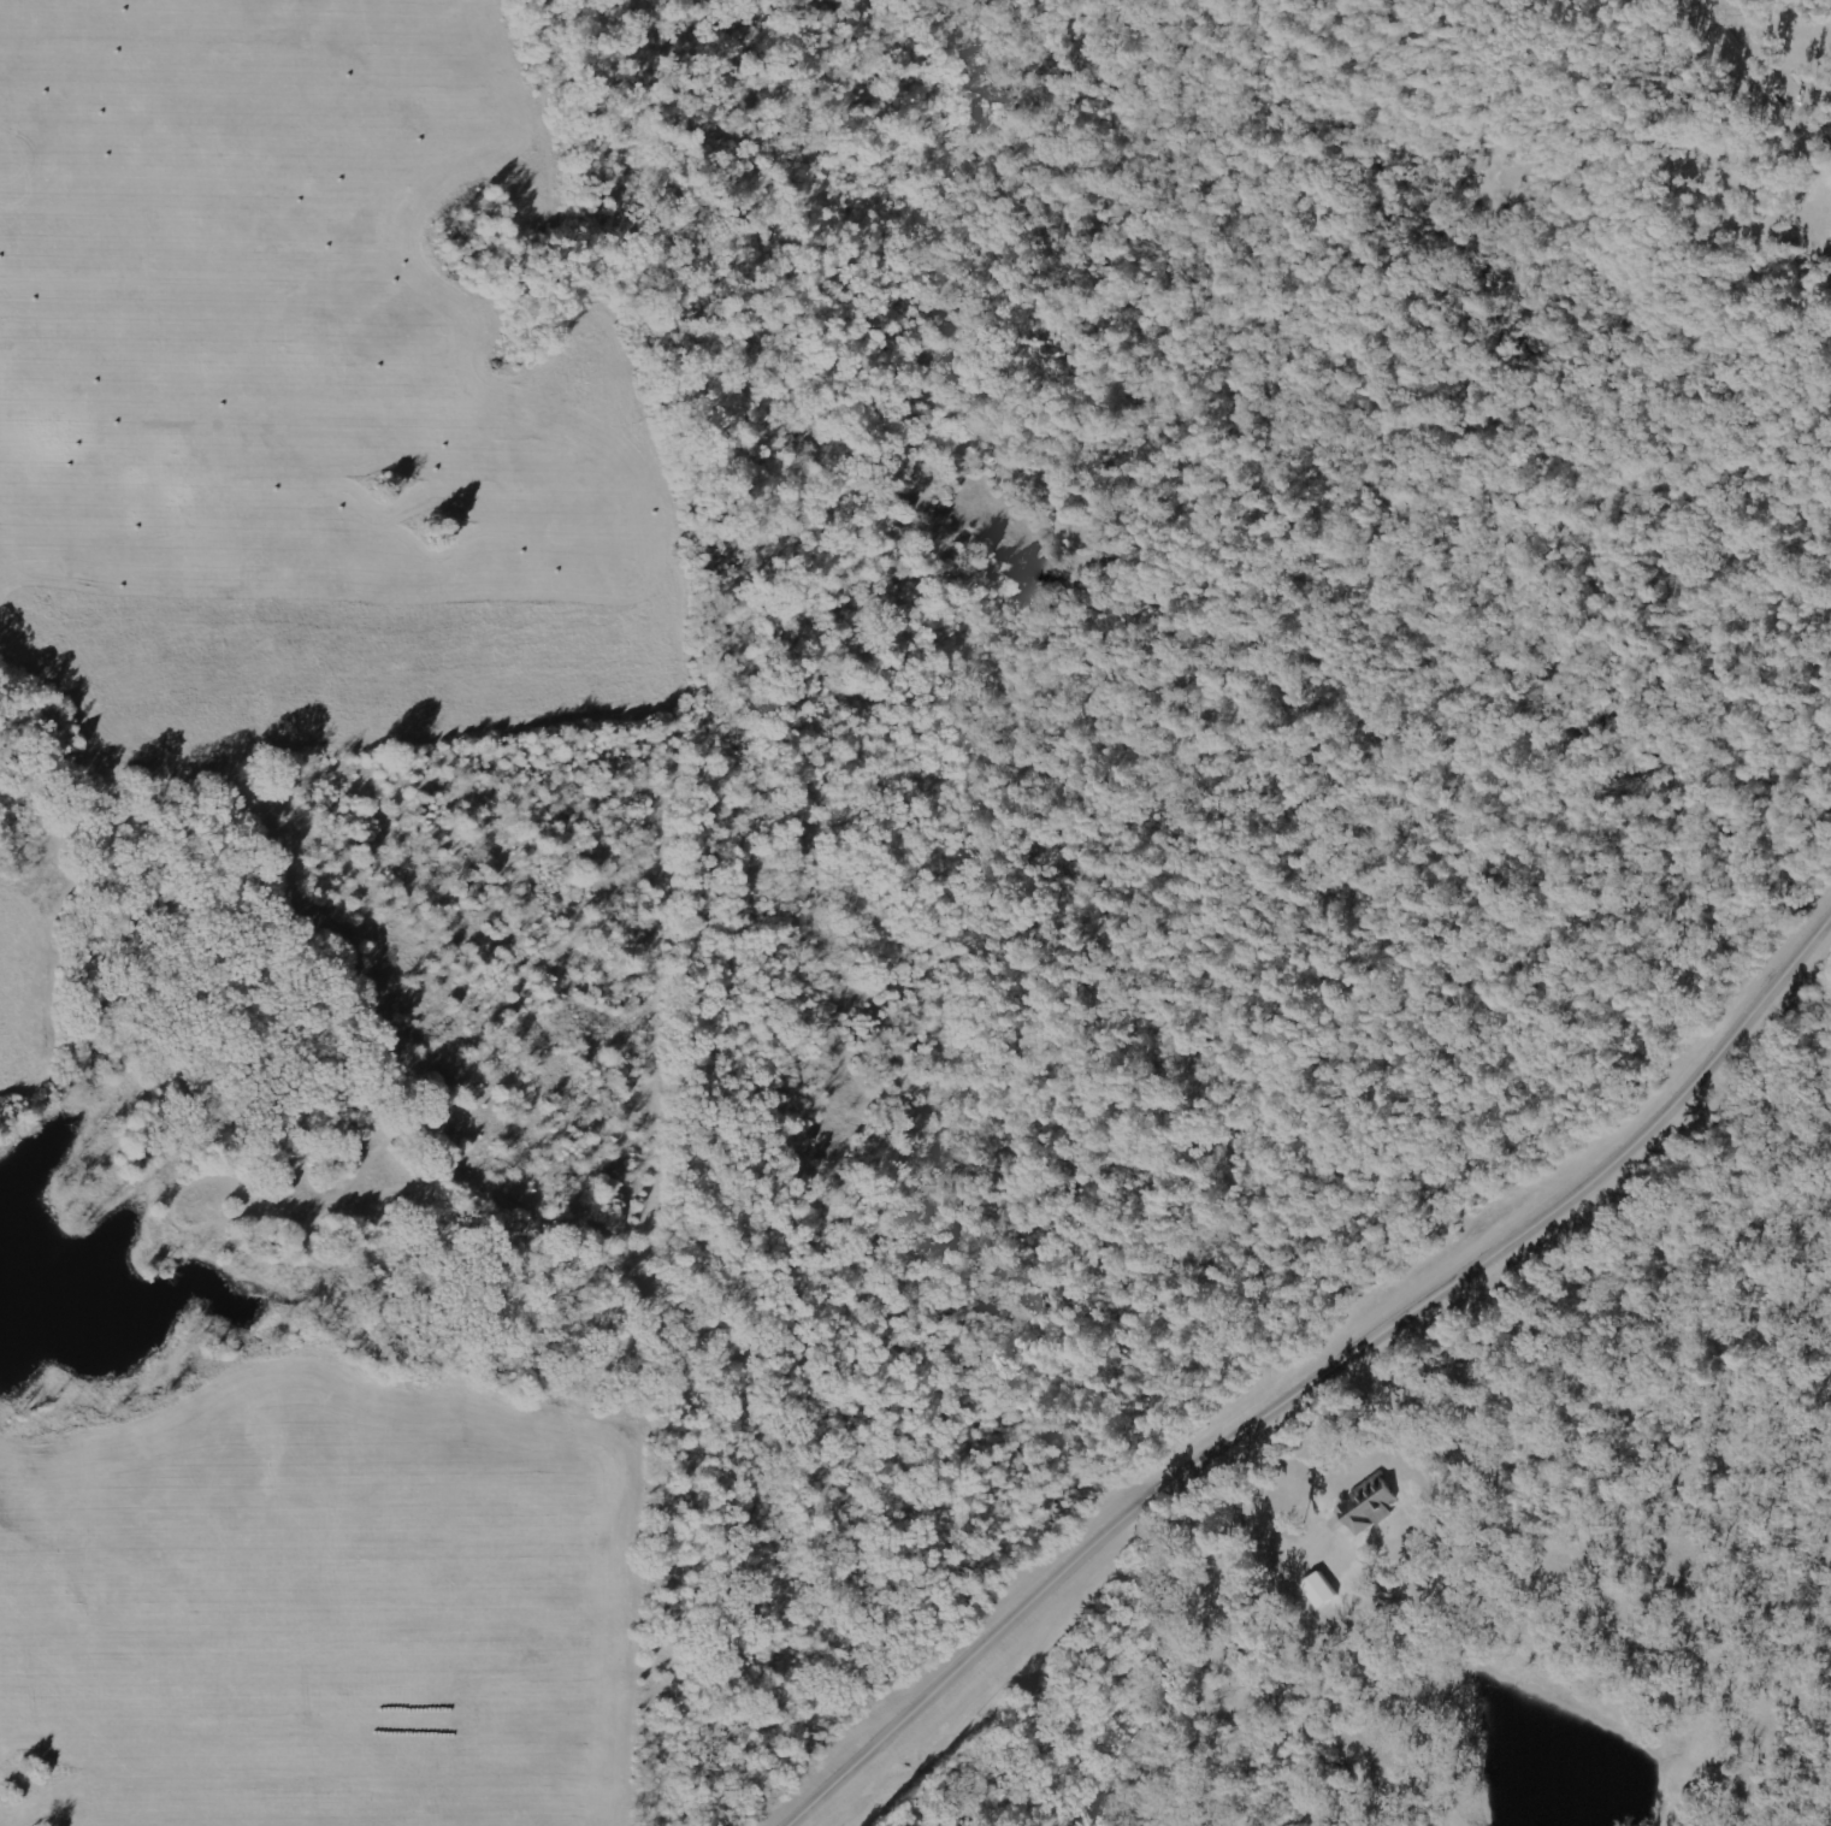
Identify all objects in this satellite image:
road: (1316, 1376)
building: (1372, 1508)

